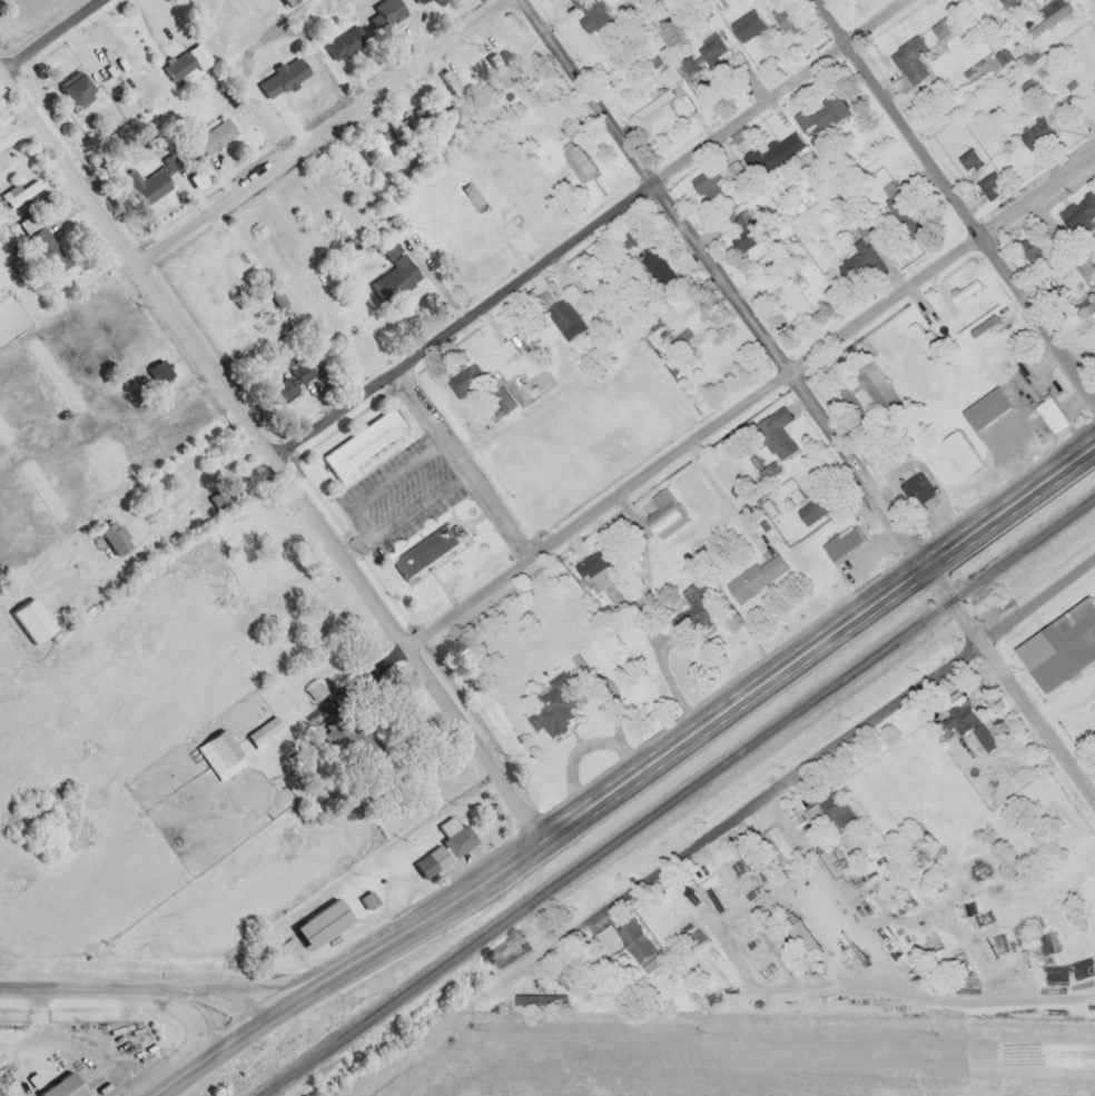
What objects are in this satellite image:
building: (413, 1)
building: (1005, 2)
building: (590, 12)
building: (381, 13)
building: (783, 18)
building: (744, 24)
building: (940, 27)
road: (48, 32)
building: (341, 42)
building: (708, 48)
road: (1, 61)
building: (174, 66)
building: (116, 69)
building: (496, 69)
building: (444, 78)
building: (71, 88)
building: (819, 115)
building: (654, 117)
building: (391, 124)
building: (566, 125)
road: (324, 128)
building: (1034, 134)
building: (209, 135)
building: (375, 146)
building: (771, 151)
building: (968, 160)
building: (576, 164)
building: (703, 182)
building: (142, 185)
building: (988, 186)
building: (14, 191)
road: (953, 199)
building: (901, 211)
building: (1069, 218)
road: (590, 227)
building: (629, 235)
building: (741, 240)
building: (38, 246)
building: (1029, 248)
building: (856, 261)
building: (624, 265)
building: (388, 271)
building: (963, 290)
building: (789, 298)
building: (589, 302)
building: (1089, 308)
building: (555, 309)
building: (679, 317)
building: (981, 326)
building: (124, 332)
building: (1002, 345)
building: (148, 375)
building: (463, 379)
building: (287, 381)
building: (876, 389)
road: (812, 394)
road: (756, 395)
building: (500, 397)
building: (63, 398)
building: (985, 408)
building: (1050, 414)
building: (773, 433)
building: (361, 445)
road: (274, 448)
building: (959, 452)
road: (467, 463)
building: (916, 491)
building: (211, 498)
building: (813, 507)
building: (661, 513)
building: (110, 536)
building: (840, 543)
building: (423, 553)
building: (593, 566)
building: (754, 576)
building: (694, 606)
road: (820, 635)
building: (1059, 645)
building: (552, 705)
building: (958, 717)
building: (259, 730)
building: (983, 735)
building: (216, 752)
road: (776, 780)
railway: (675, 794)
building: (828, 808)
building: (776, 845)
building: (440, 846)
building: (835, 862)
road: (844, 886)
building: (363, 898)
building: (316, 921)
road: (411, 925)
building: (801, 935)
building: (625, 942)
building: (564, 978)
road: (860, 986)
road: (139, 987)
building: (539, 999)
road: (218, 1057)
building: (57, 1086)

